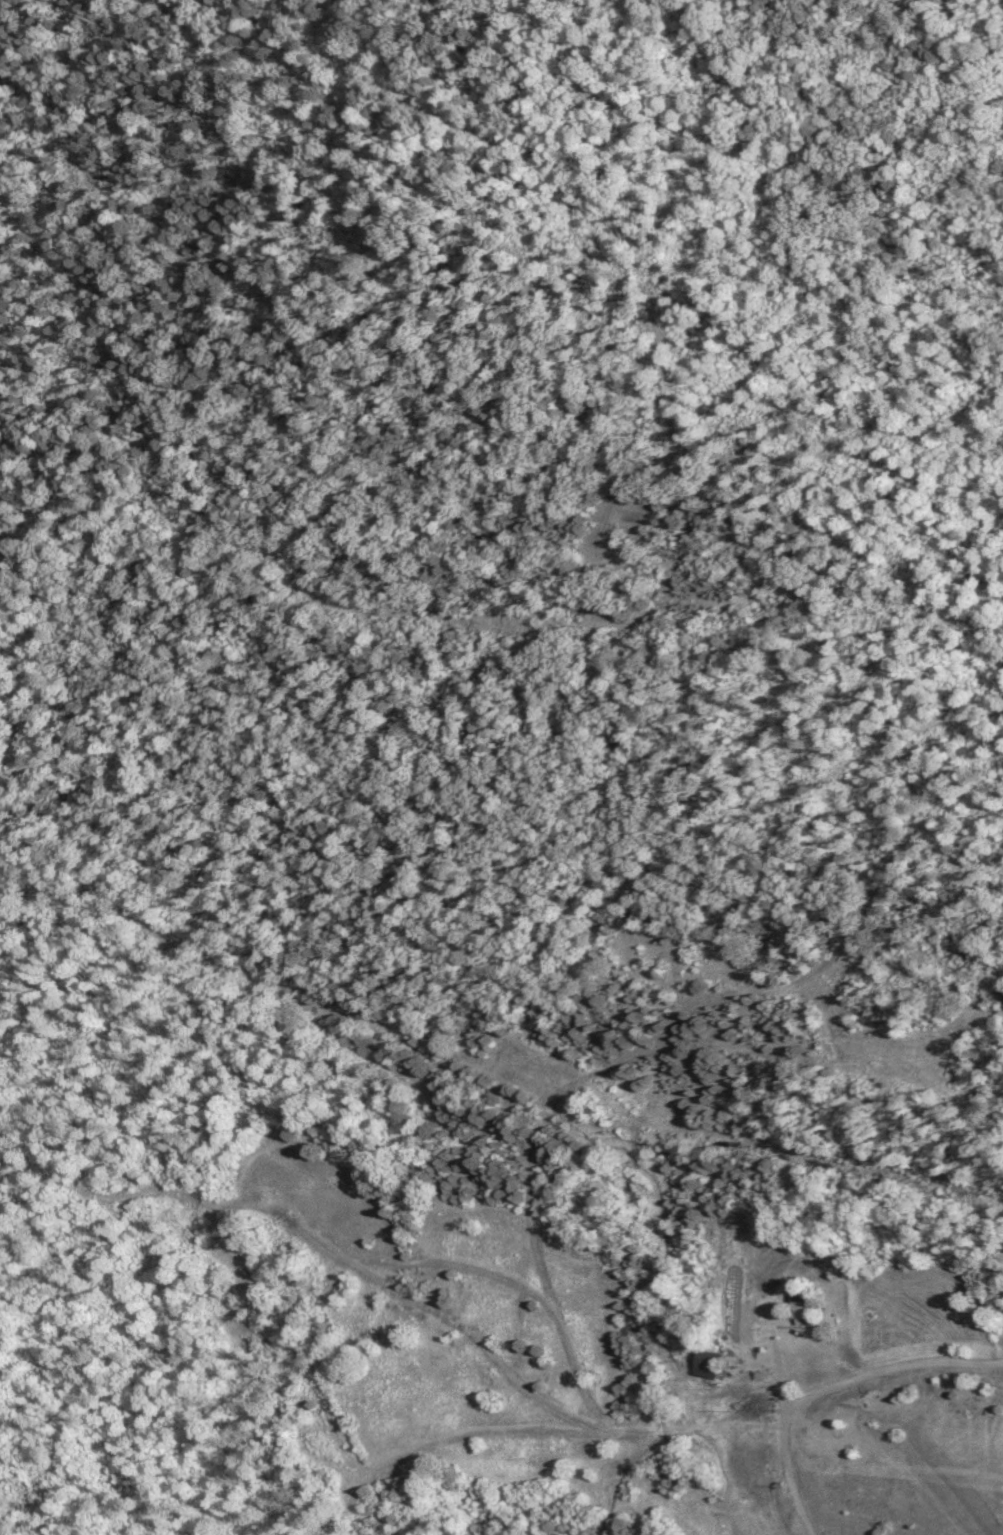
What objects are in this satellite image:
building: (795, 1311)
building: (703, 1364)
road: (833, 1395)

